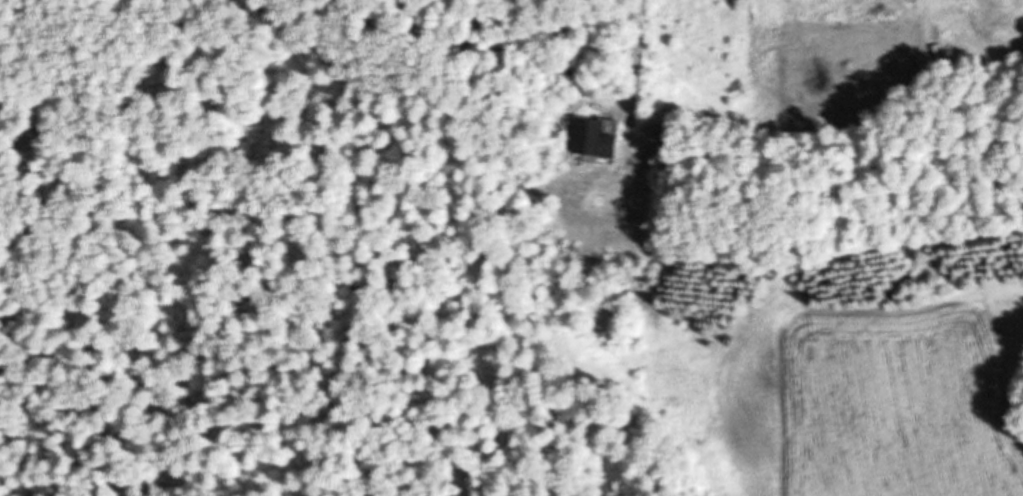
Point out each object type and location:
building: (589, 137)

